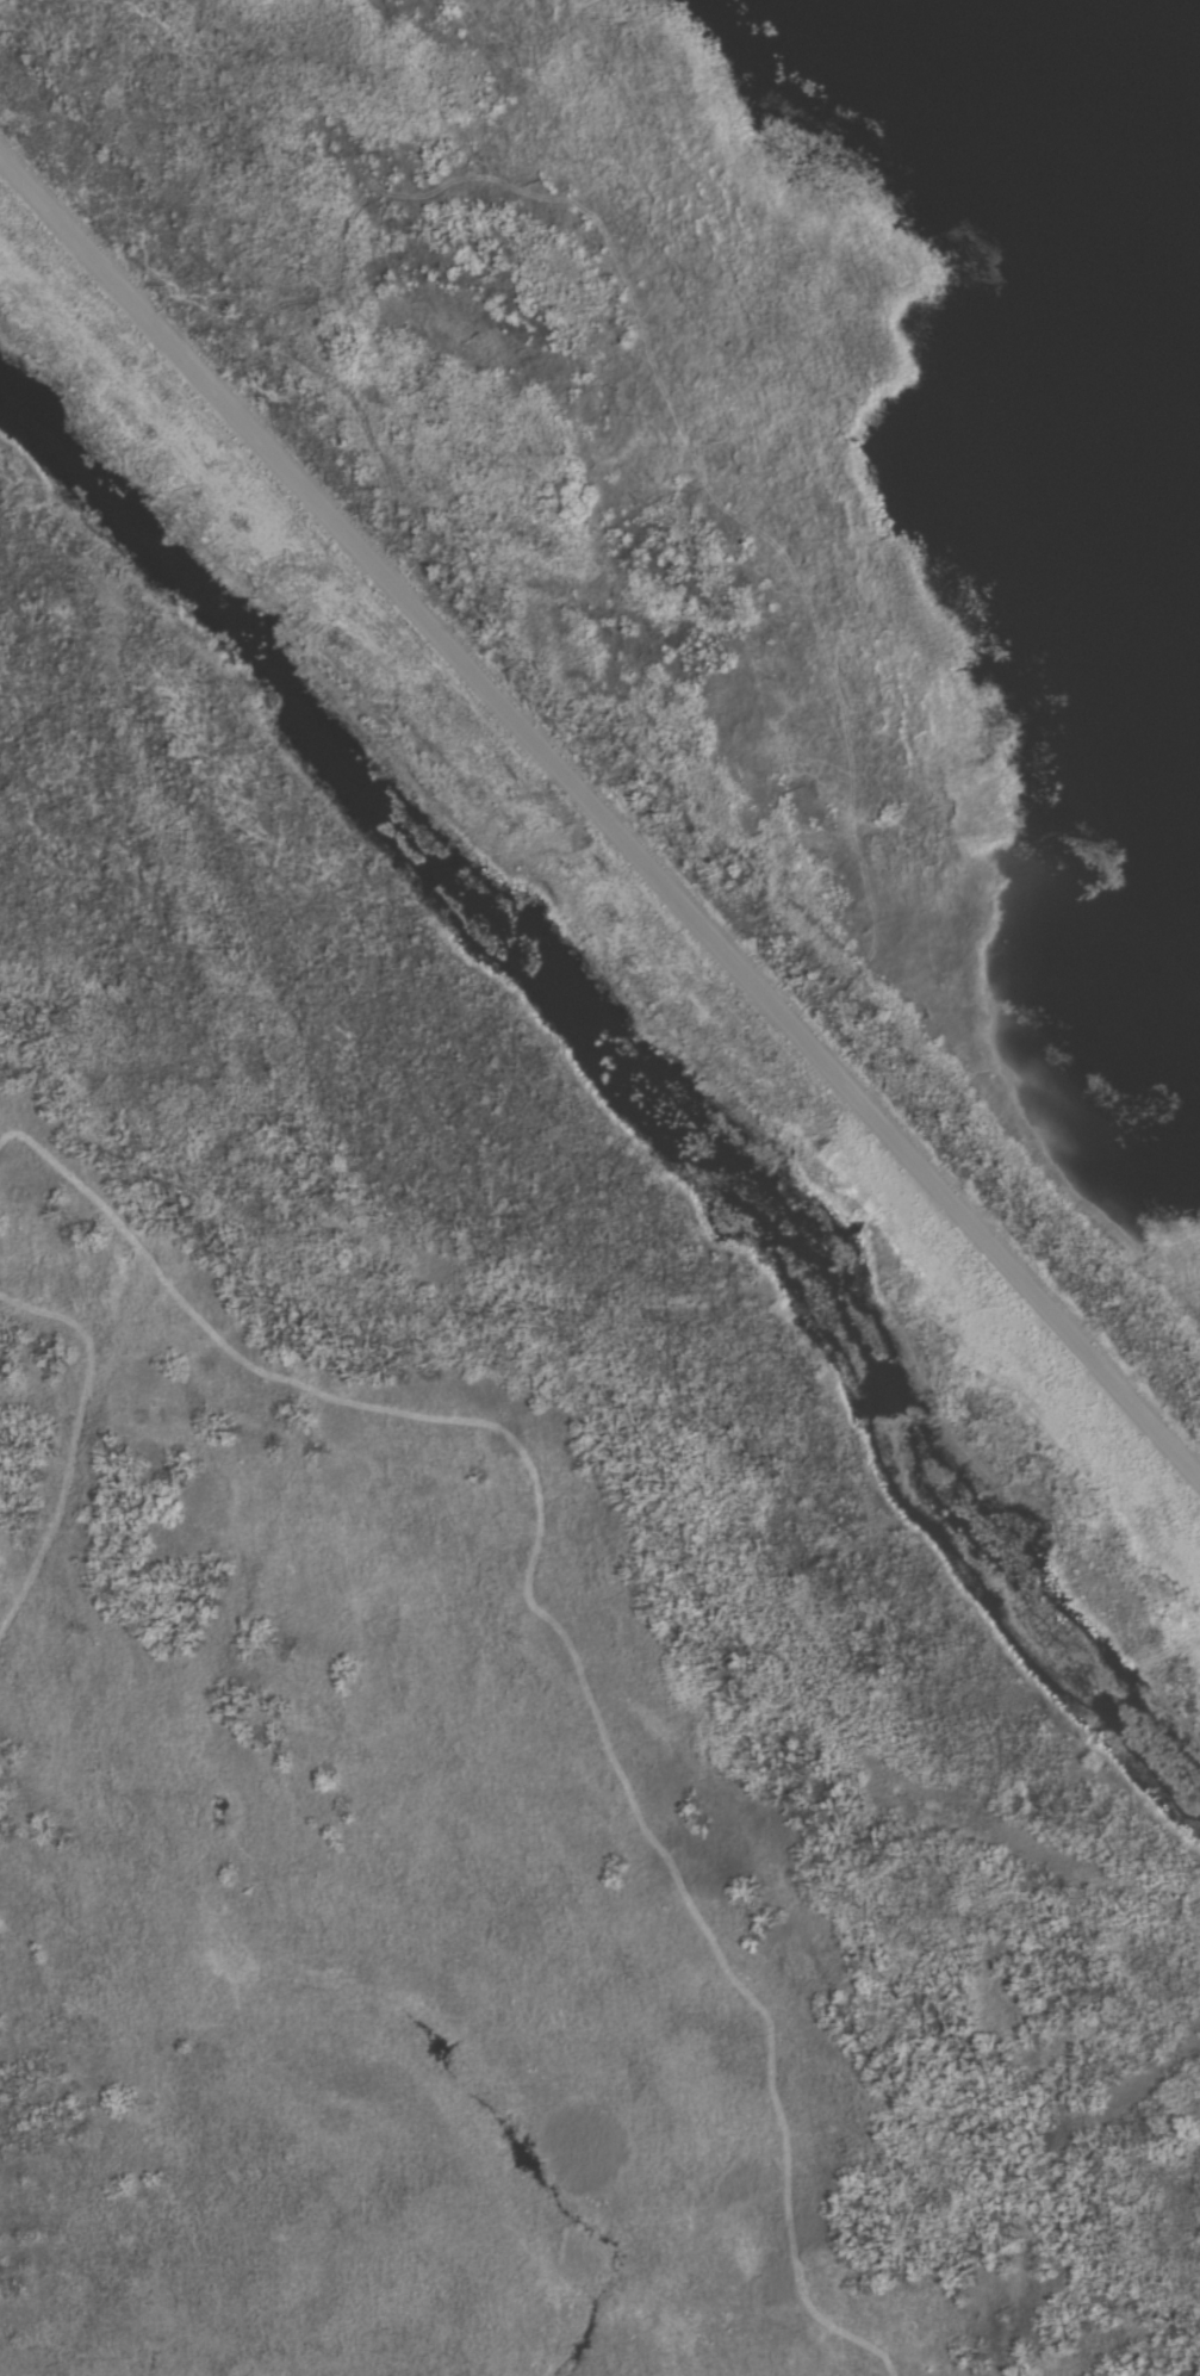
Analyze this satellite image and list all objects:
road: (599, 817)

